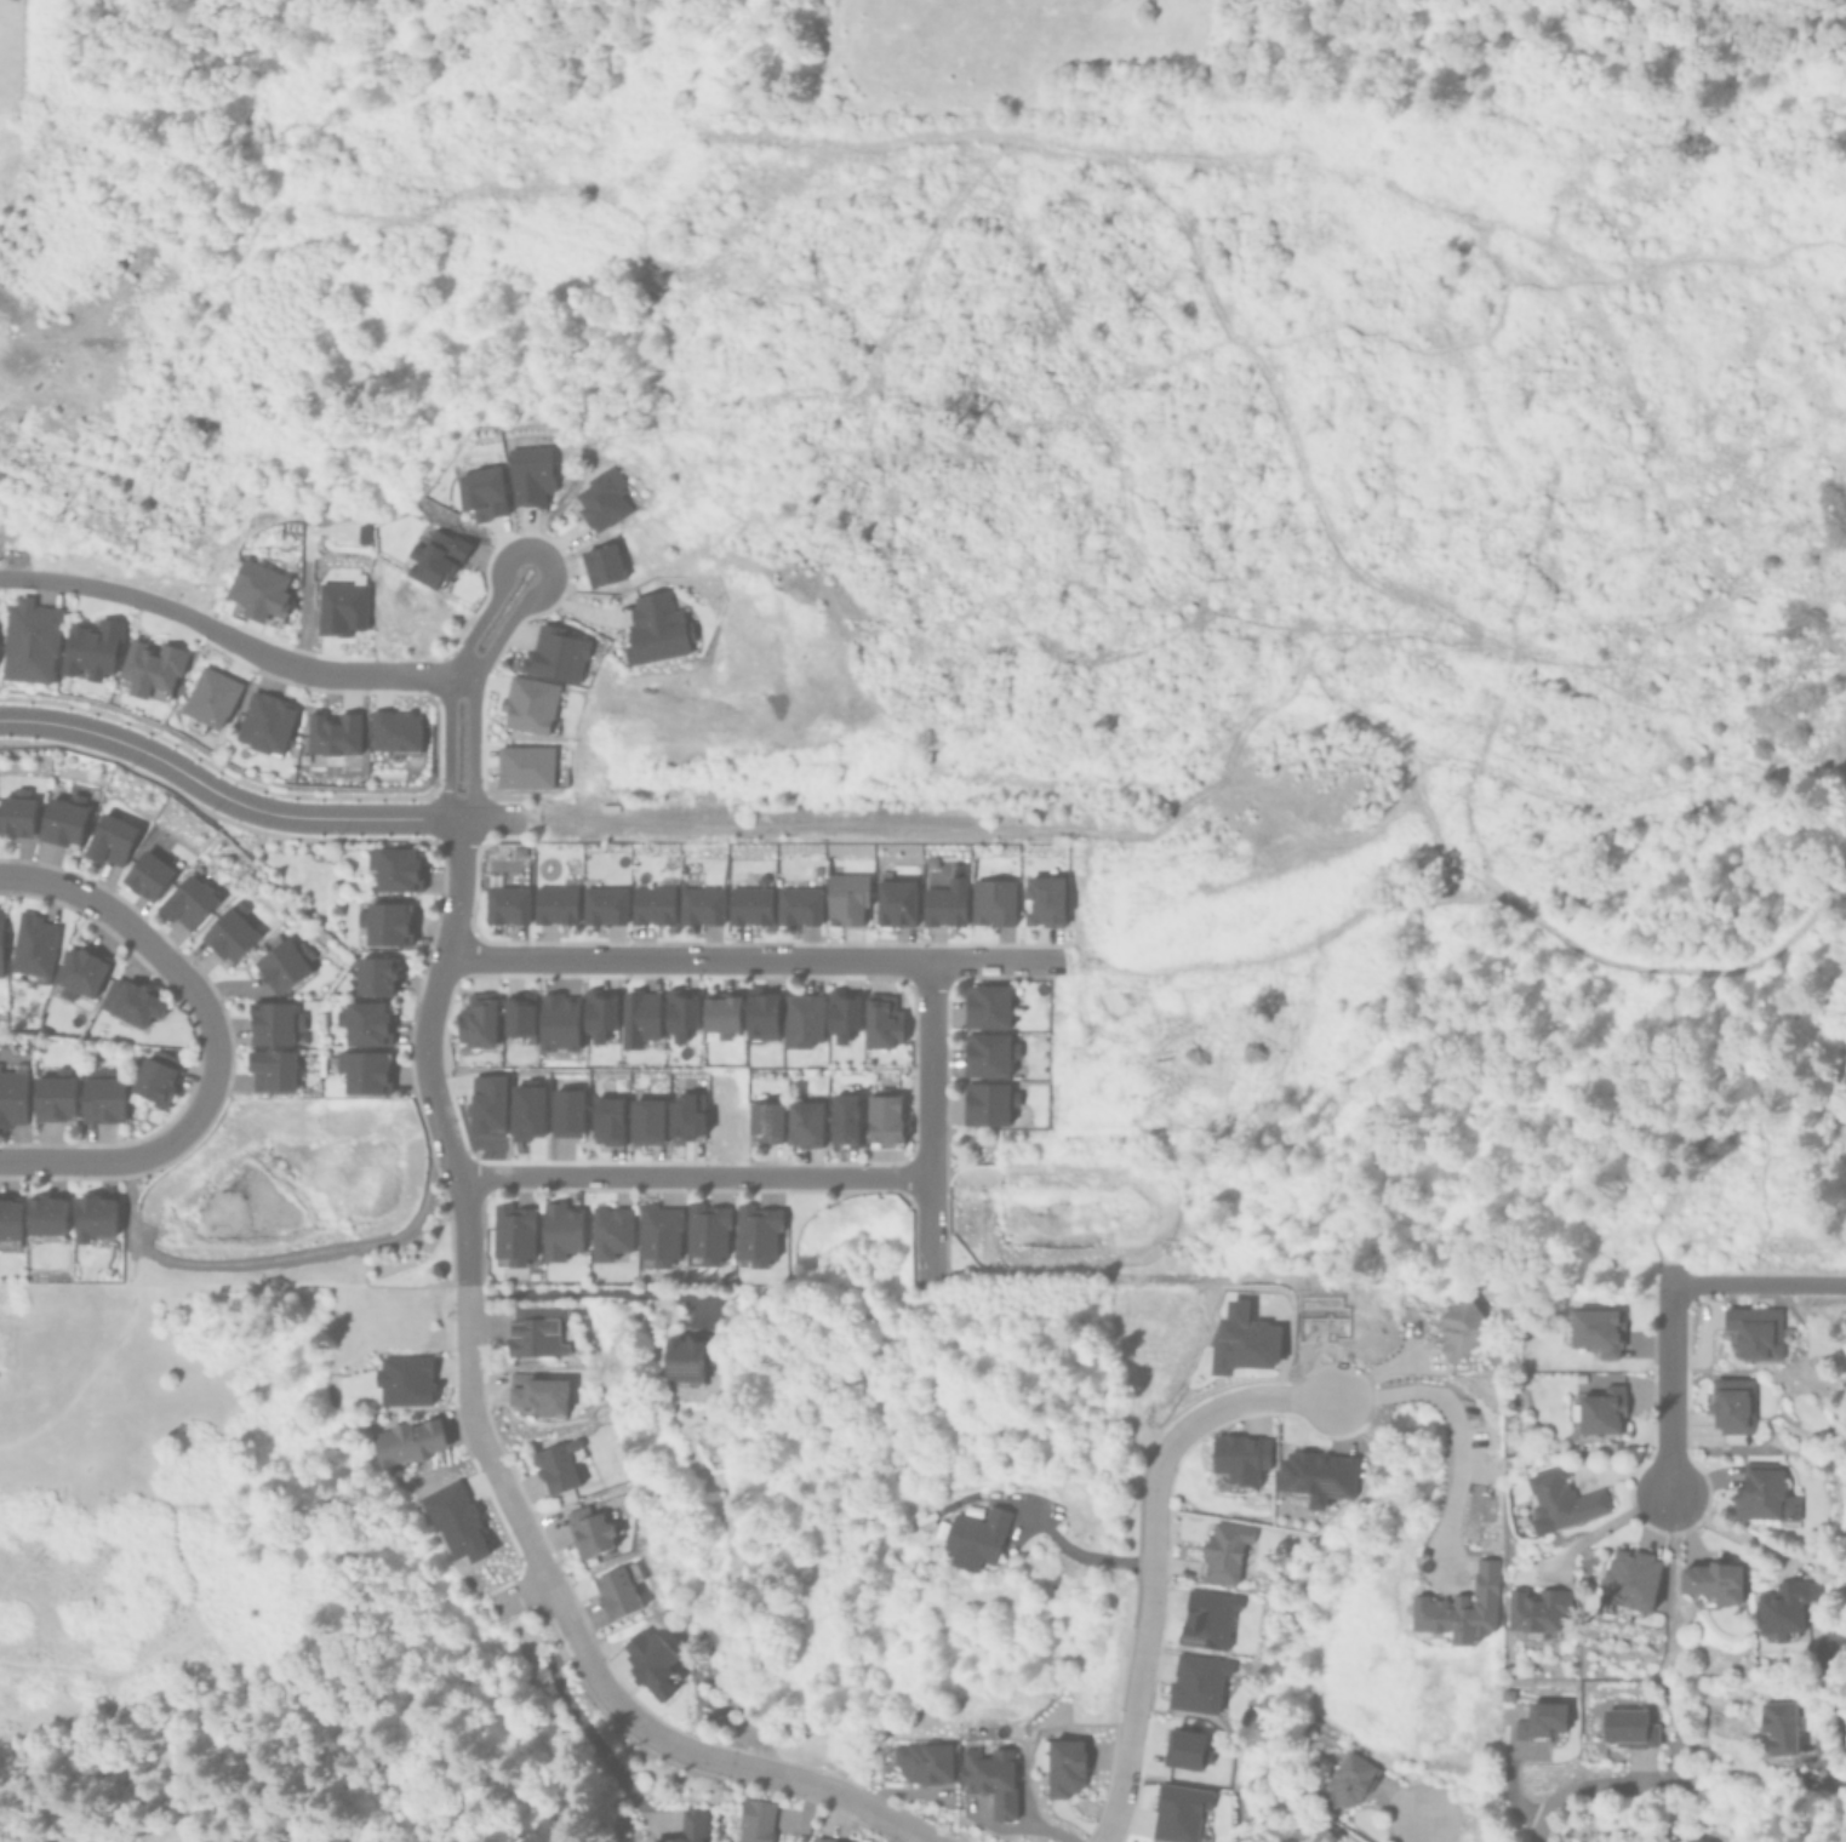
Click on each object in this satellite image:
building: (531, 474)
building: (482, 492)
building: (602, 498)
road: (533, 549)
building: (435, 557)
building: (602, 564)
road: (95, 585)
building: (258, 589)
building: (342, 607)
building: (656, 628)
building: (28, 640)
building: (90, 647)
building: (555, 653)
building: (152, 665)
road: (324, 673)
building: (211, 697)
building: (530, 704)
building: (263, 723)
building: (394, 730)
building: (331, 733)
building: (525, 766)
road: (222, 799)
building: (16, 813)
building: (61, 820)
road: (493, 822)
building: (108, 839)
building: (394, 868)
building: (145, 875)
building: (846, 897)
building: (1047, 900)
building: (185, 902)
building: (896, 902)
building: (994, 902)
building: (505, 904)
building: (555, 904)
building: (604, 904)
building: (652, 904)
building: (701, 904)
building: (749, 905)
building: (798, 905)
building: (944, 905)
building: (384, 922)
road: (135, 926)
building: (228, 933)
building: (0, 938)
building: (29, 949)
road: (753, 959)
building: (280, 962)
building: (78, 971)
building: (371, 976)
building: (130, 1002)
building: (987, 1006)
building: (680, 1012)
building: (599, 1013)
building: (721, 1013)
building: (842, 1013)
building: (518, 1014)
building: (761, 1014)
building: (639, 1017)
building: (476, 1019)
building: (802, 1020)
building: (882, 1022)
building: (272, 1023)
building: (364, 1023)
building: (558, 1024)
building: (990, 1054)
building: (269, 1070)
building: (361, 1071)
building: (153, 1075)
building: (11, 1094)
building: (52, 1094)
building: (101, 1094)
building: (988, 1103)
building: (486, 1105)
building: (567, 1112)
building: (687, 1115)
building: (885, 1119)
building: (607, 1120)
building: (647, 1120)
building: (806, 1120)
building: (845, 1120)
road: (931, 1121)
building: (766, 1122)
road: (142, 1156)
road: (695, 1175)
building: (42, 1215)
building: (91, 1215)
building: (8, 1222)
building: (560, 1229)
building: (608, 1230)
building: (705, 1231)
building: (511, 1232)
building: (657, 1234)
building: (755, 1234)
road: (276, 1252)
road: (1756, 1282)
road: (468, 1289)
road: (581, 1292)
building: (1465, 1327)
building: (536, 1329)
building: (1593, 1332)
building: (1758, 1332)
building: (1244, 1339)
building: (685, 1357)
building: (405, 1379)
road: (1667, 1391)
building: (537, 1392)
building: (1734, 1406)
building: (1598, 1412)
road: (1454, 1425)
building: (407, 1441)
building: (1236, 1459)
building: (558, 1466)
building: (1318, 1475)
building: (1767, 1495)
building: (1562, 1501)
building: (455, 1520)
road: (1605, 1523)
building: (938, 1528)
building: (589, 1532)
building: (976, 1538)
road: (1754, 1543)
road: (1079, 1552)
building: (1223, 1552)
road: (1149, 1556)
building: (1716, 1583)
building: (1630, 1584)
building: (619, 1590)
road: (516, 1596)
building: (1462, 1607)
building: (1785, 1608)
building: (1537, 1613)
building: (1205, 1620)
building: (650, 1660)
building: (1198, 1681)
building: (1541, 1720)
road: (572, 1721)
building: (1779, 1727)
building: (1627, 1728)
building: (1185, 1749)
road: (1821, 1752)
building: (926, 1762)
building: (1065, 1767)
road: (787, 1774)
building: (991, 1779)
building: (1348, 1781)
road: (1585, 1790)
building: (1178, 1812)
building: (754, 1820)
building: (687, 1827)
road: (1417, 1827)
building: (1698, 1838)
building: (822, 1840)
building: (1681, 1840)

